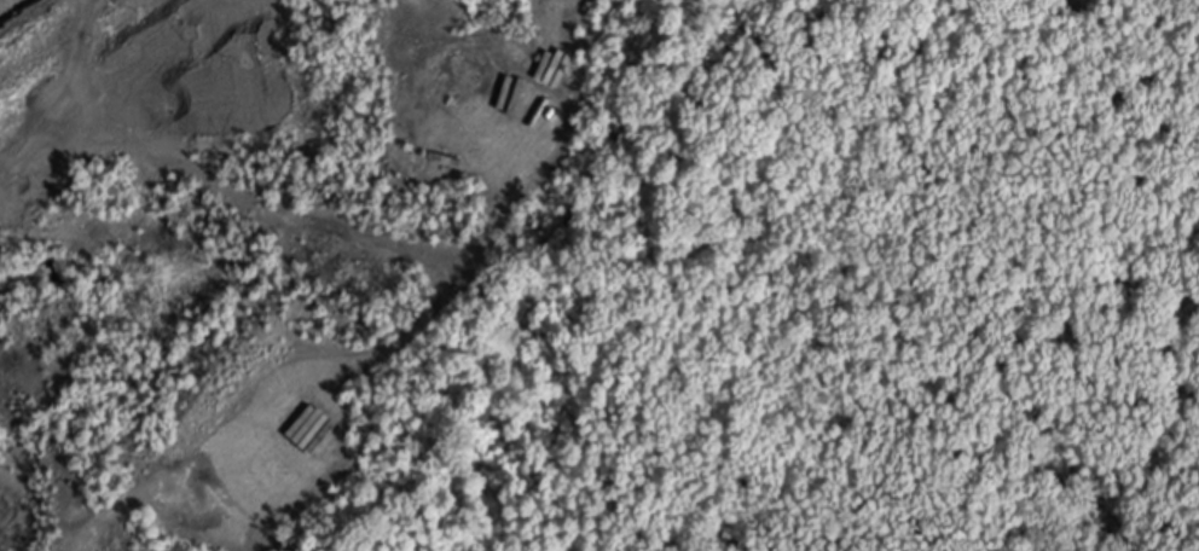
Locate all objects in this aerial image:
quarry: (359, 275)

